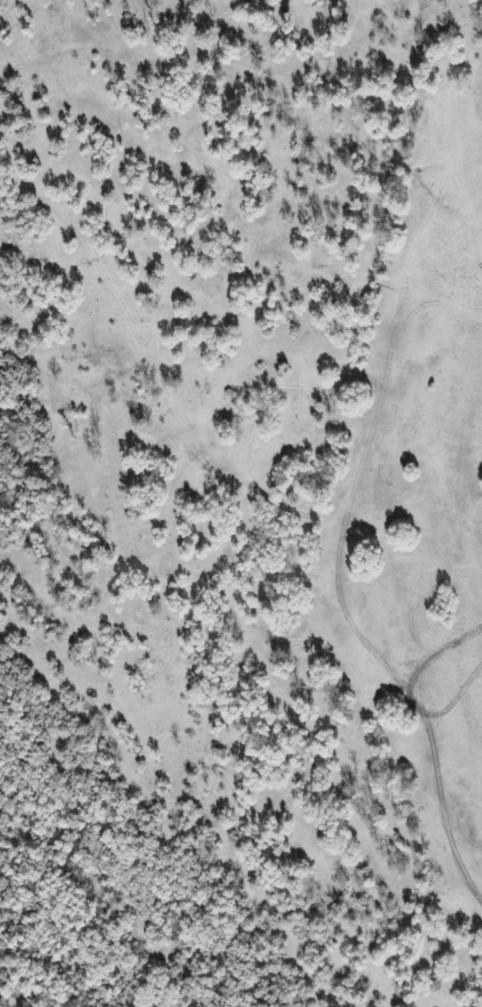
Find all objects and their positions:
airport: (420, 497)

